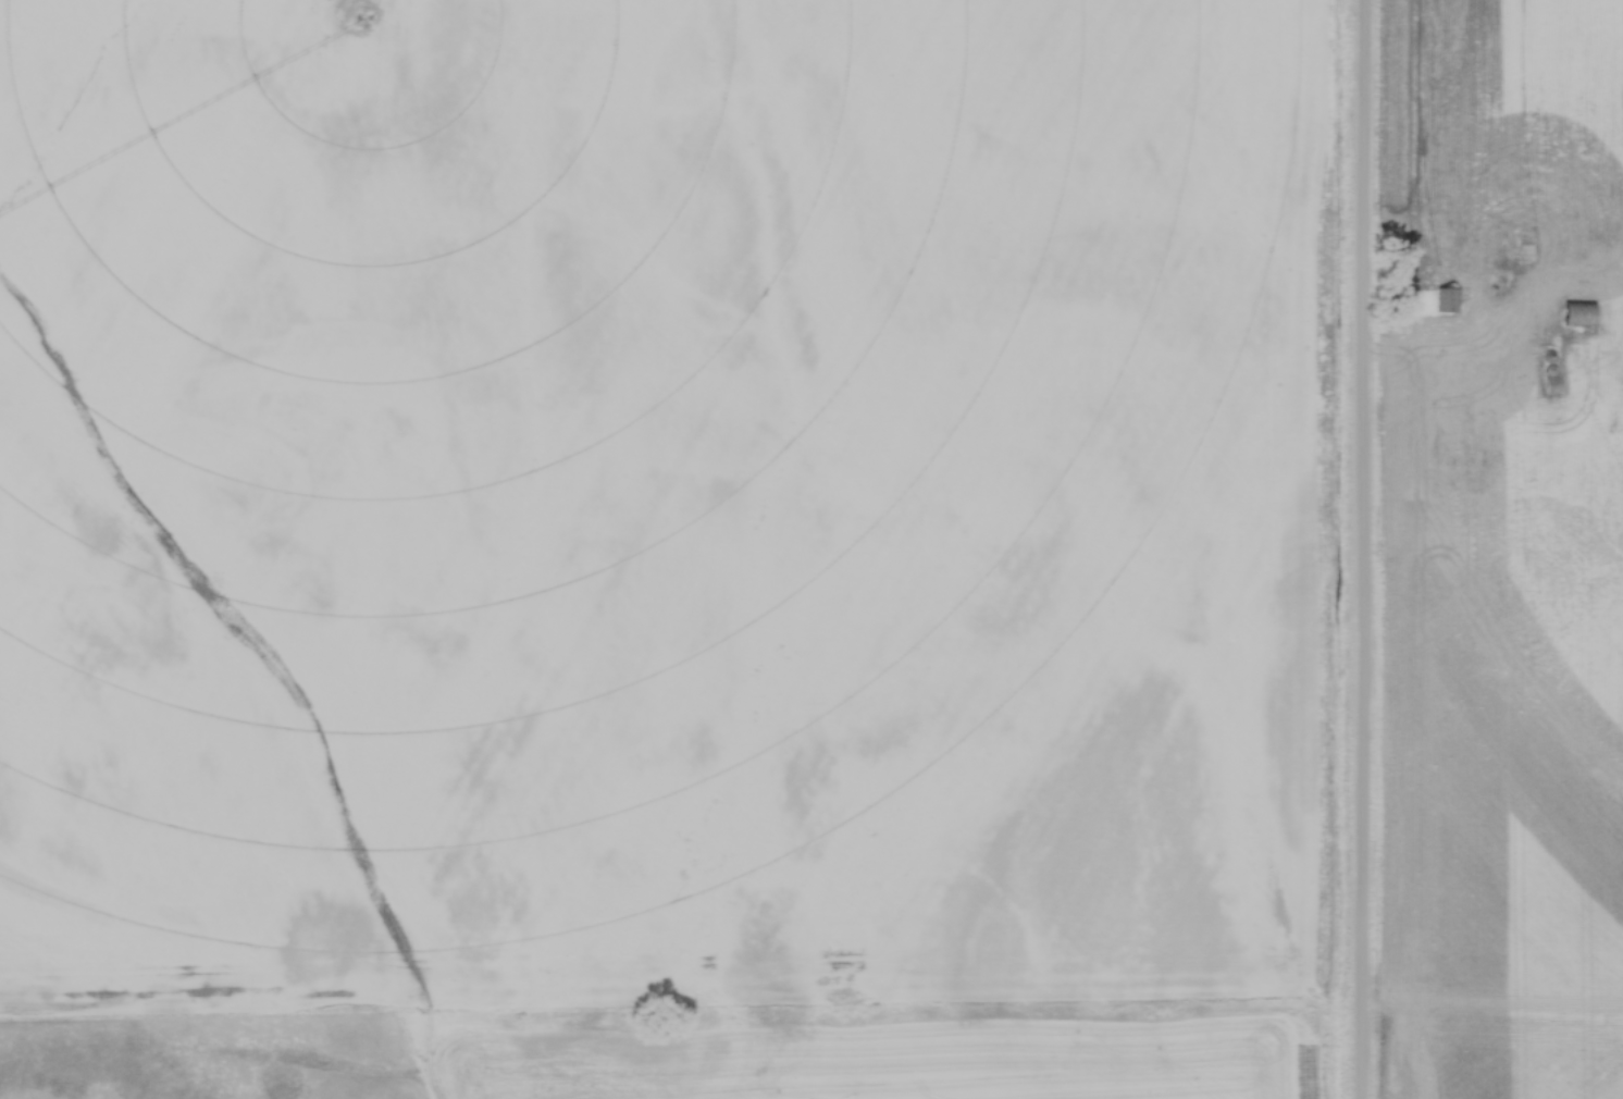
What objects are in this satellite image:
building: (1445, 300)
building: (1576, 314)
road: (1363, 549)

